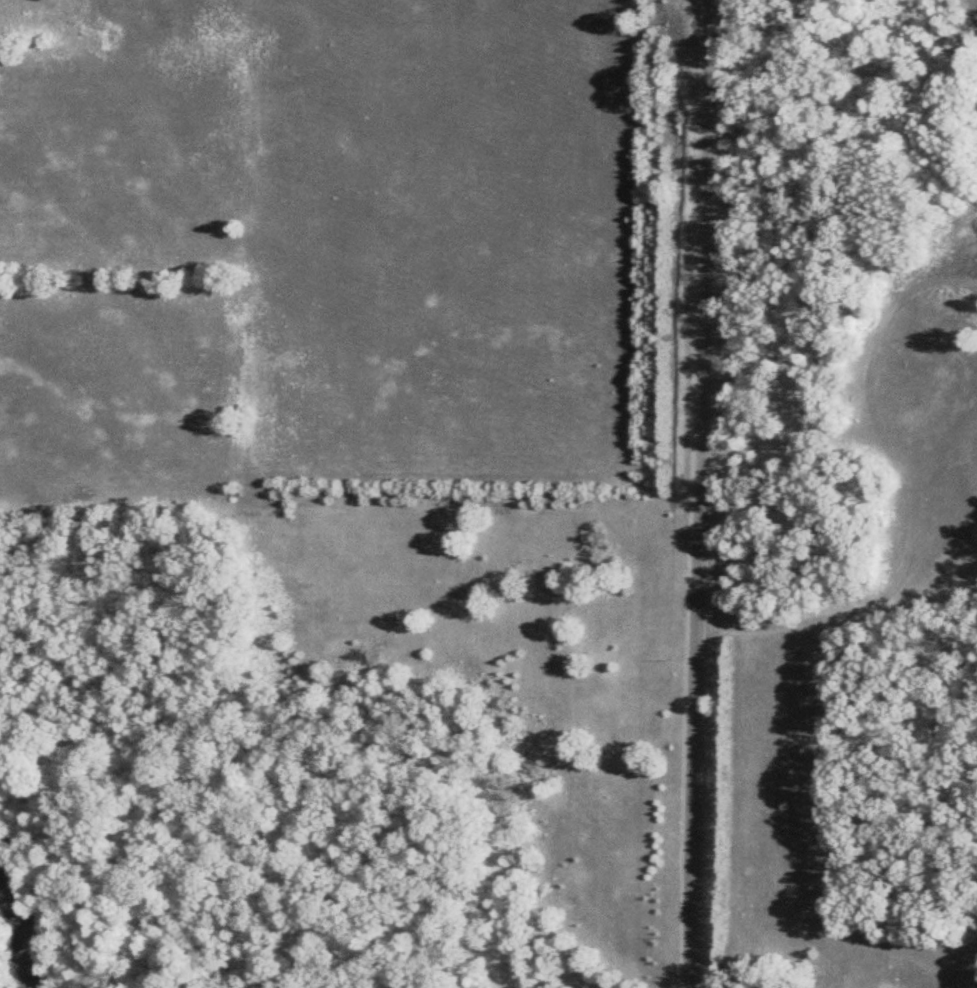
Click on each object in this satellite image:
road: (702, 493)
river: (21, 923)

